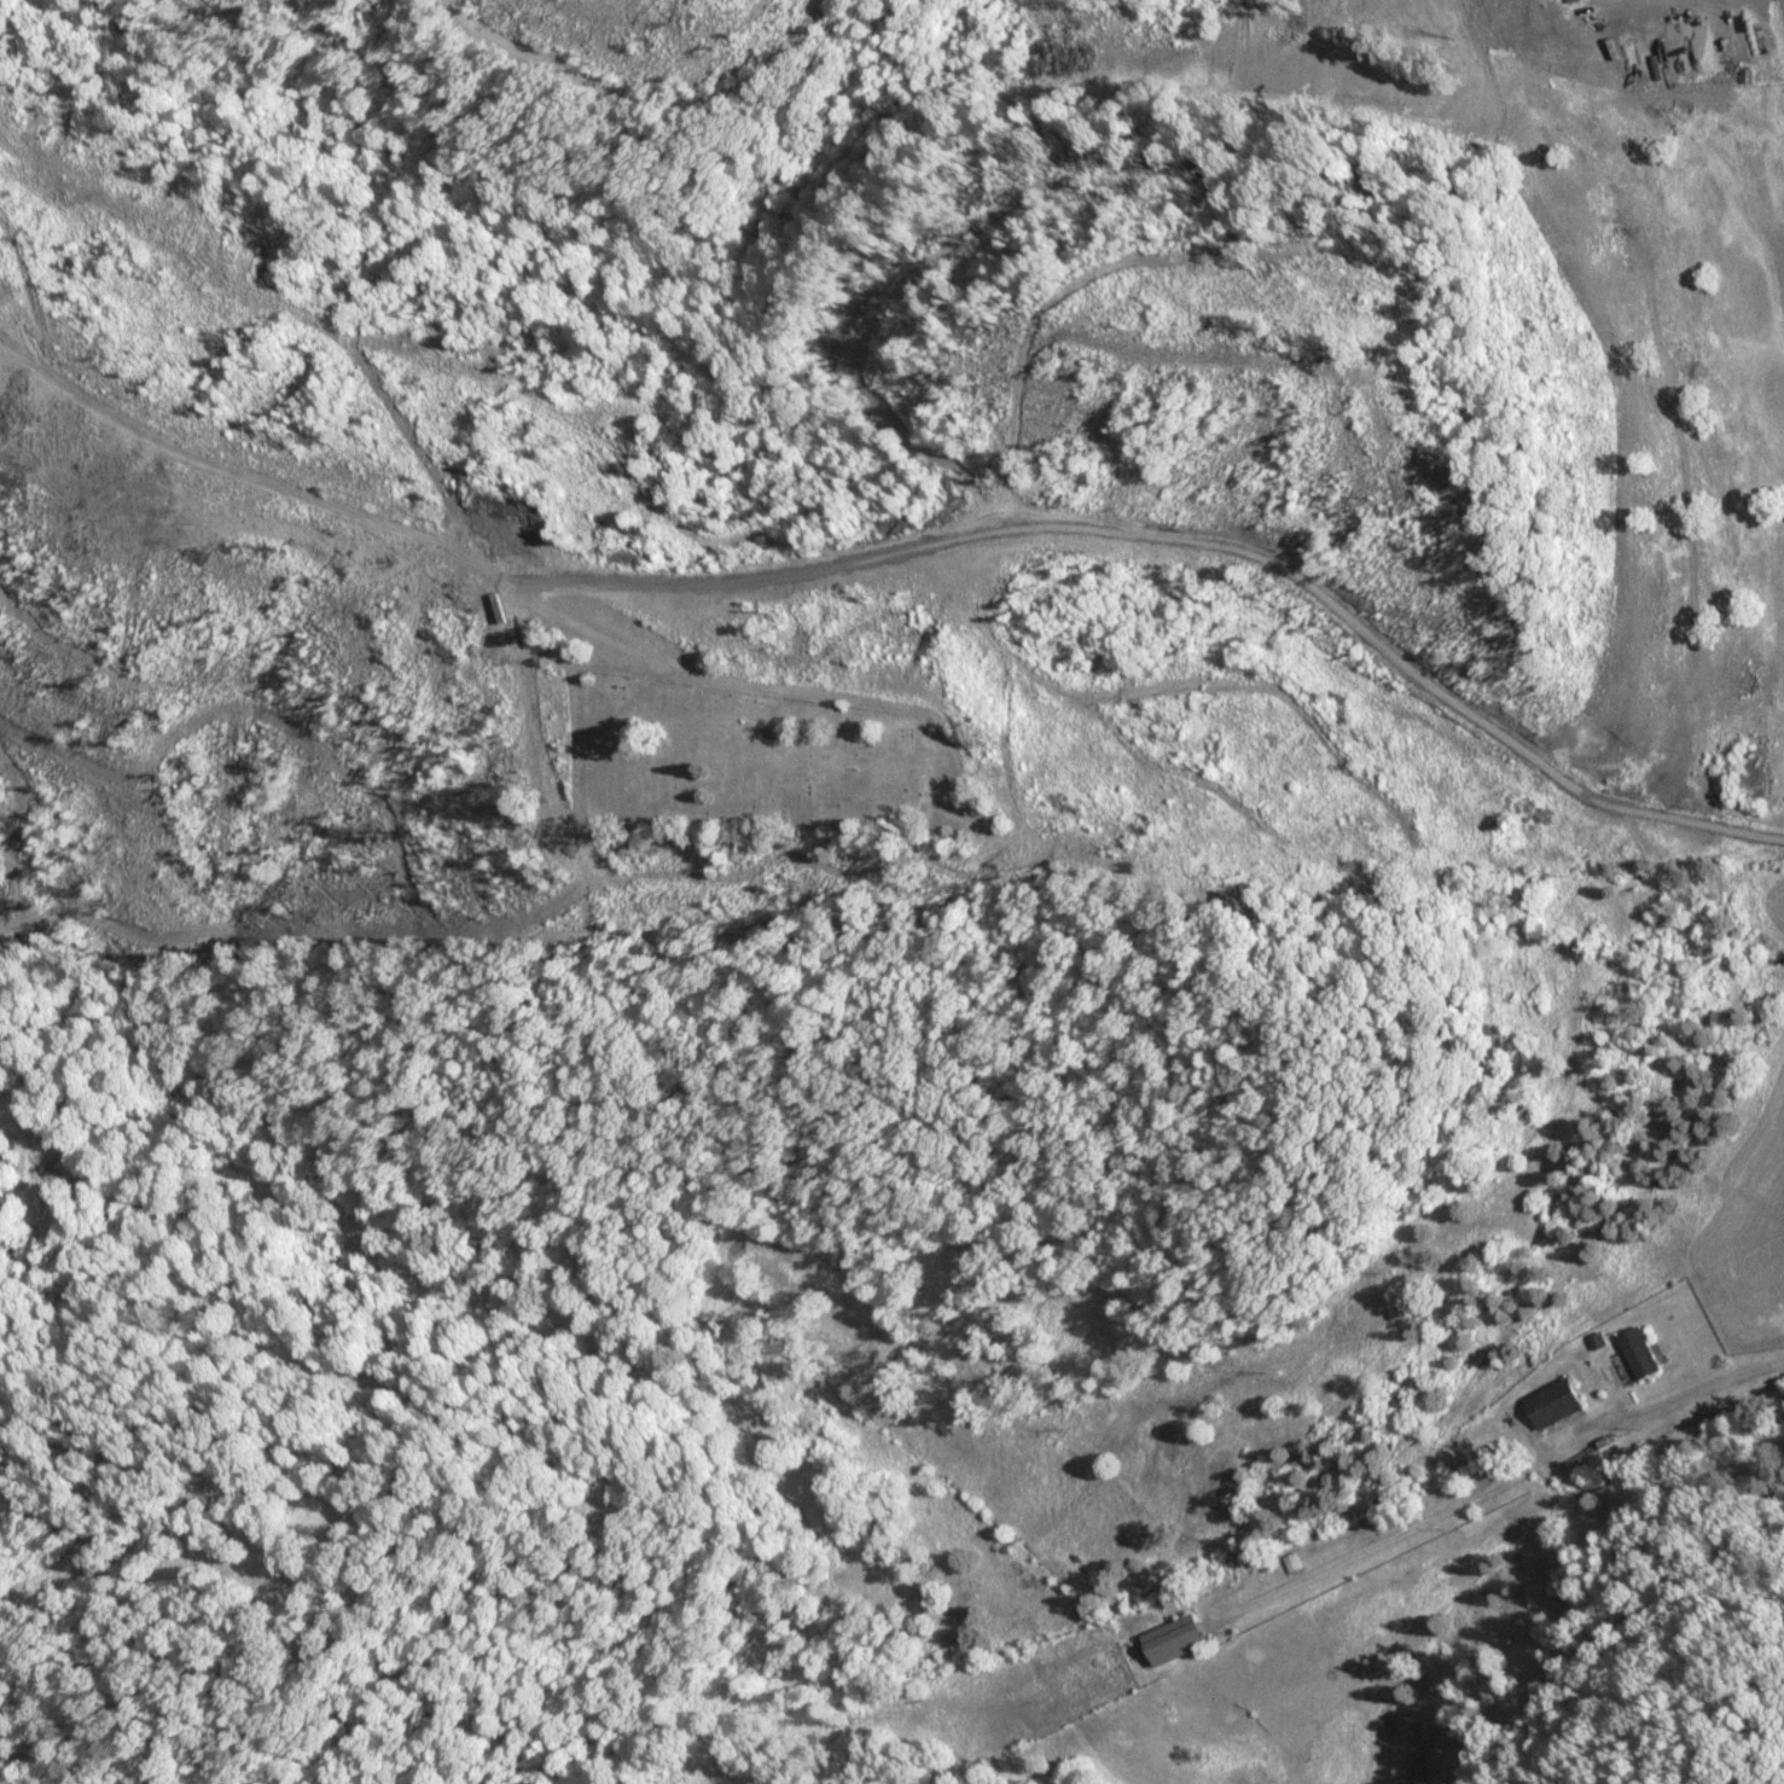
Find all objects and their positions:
road: (640, 59)
road: (348, 524)
building: (1641, 1354)
building: (1557, 1404)
building: (1178, 1640)

